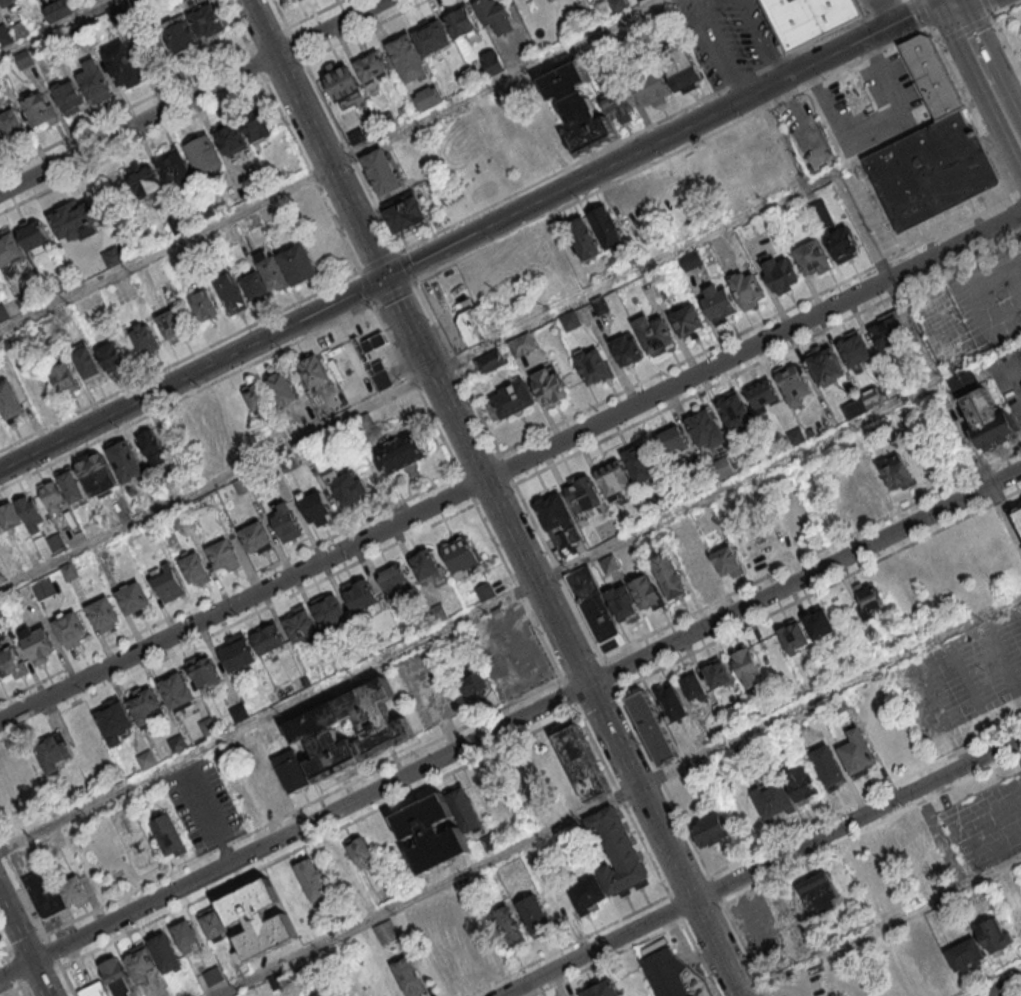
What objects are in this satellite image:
building: (301, 0)
building: (286, 1)
building: (552, 1)
building: (641, 1)
building: (9, 4)
building: (139, 6)
building: (619, 6)
road: (954, 7)
road: (973, 7)
road: (1004, 8)
building: (58, 12)
road: (922, 13)
road: (280, 14)
road: (315, 14)
building: (121, 15)
traffic signals: (958, 15)
building: (495, 17)
building: (810, 19)
road: (235, 23)
building: (207, 24)
building: (463, 24)
road: (55, 28)
building: (650, 28)
road: (963, 30)
building: (21, 31)
road: (367, 31)
building: (81, 34)
building: (180, 36)
parking lot: (726, 36)
building: (5, 37)
road: (268, 37)
road: (1002, 37)
building: (432, 39)
road: (766, 39)
building: (625, 41)
road: (296, 45)
building: (603, 49)
road: (719, 49)
building: (56, 54)
road: (979, 58)
building: (25, 61)
building: (408, 62)
building: (43, 63)
road: (256, 64)
building: (494, 66)
building: (123, 68)
building: (372, 69)
road: (284, 71)
building: (683, 72)
building: (932, 78)
building: (466, 82)
road: (498, 83)
building: (96, 84)
building: (340, 84)
building: (652, 88)
road: (190, 95)
building: (68, 100)
building: (429, 100)
building: (618, 106)
parking lot: (870, 108)
road: (124, 109)
building: (579, 110)
building: (38, 111)
road: (971, 112)
road: (1007, 113)
building: (387, 121)
road: (651, 125)
building: (13, 129)
building: (258, 129)
road: (1017, 132)
parking lot: (805, 134)
road: (314, 138)
building: (355, 138)
building: (231, 139)
road: (662, 139)
road: (780, 141)
building: (2, 143)
road: (132, 148)
road: (671, 153)
building: (205, 158)
road: (351, 158)
building: (175, 171)
building: (932, 172)
building: (381, 175)
road: (312, 177)
building: (146, 185)
road: (1018, 203)
building: (207, 212)
building: (405, 217)
building: (823, 218)
building: (76, 225)
building: (178, 228)
building: (606, 231)
building: (748, 233)
building: (33, 238)
building: (584, 242)
road: (688, 248)
building: (843, 248)
road: (164, 250)
building: (10, 251)
building: (116, 258)
building: (814, 261)
road: (379, 262)
building: (691, 263)
building: (299, 268)
road: (407, 268)
building: (273, 275)
building: (780, 276)
traffic signals: (384, 278)
road: (367, 288)
building: (256, 291)
road: (394, 293)
building: (747, 293)
building: (231, 296)
parking lot: (989, 297)
building: (719, 307)
building: (205, 308)
building: (601, 308)
building: (4, 315)
building: (571, 323)
building: (689, 325)
road: (756, 325)
building: (171, 327)
parking lot: (942, 327)
building: (471, 328)
building: (892, 332)
building: (655, 337)
building: (145, 341)
building: (369, 345)
building: (523, 347)
building: (1020, 348)
building: (856, 352)
building: (628, 353)
parking lot: (350, 356)
building: (111, 357)
road: (768, 357)
road: (180, 361)
building: (492, 363)
building: (88, 365)
road: (457, 368)
building: (826, 369)
building: (593, 370)
road: (191, 373)
building: (313, 373)
building: (380, 377)
building: (963, 381)
building: (64, 382)
road: (418, 388)
building: (794, 388)
building: (550, 390)
building: (283, 392)
road: (187, 397)
building: (257, 399)
building: (763, 400)
building: (873, 400)
building: (9, 403)
building: (511, 404)
building: (855, 411)
building: (736, 415)
building: (364, 423)
building: (988, 425)
building: (707, 432)
building: (797, 439)
building: (671, 442)
building: (151, 447)
building: (402, 458)
building: (287, 462)
road: (479, 463)
building: (125, 464)
road: (510, 467)
building: (642, 467)
road: (507, 469)
building: (722, 471)
building: (897, 477)
building: (97, 478)
road: (737, 482)
road: (216, 483)
building: (614, 484)
building: (870, 486)
building: (243, 487)
building: (170, 488)
building: (72, 489)
road: (467, 489)
building: (346, 490)
road: (494, 494)
building: (52, 499)
building: (582, 501)
building: (659, 506)
building: (317, 511)
road: (1005, 513)
building: (31, 516)
building: (554, 518)
building: (1018, 518)
building: (10, 519)
building: (180, 520)
building: (286, 526)
building: (687, 529)
building: (2, 534)
building: (257, 542)
building: (57, 544)
building: (651, 545)
building: (568, 548)
road: (810, 553)
building: (224, 558)
building: (461, 560)
building: (729, 566)
building: (193, 568)
building: (611, 568)
building: (424, 570)
road: (555, 571)
building: (70, 573)
building: (697, 573)
building: (669, 581)
building: (167, 586)
road: (229, 586)
building: (395, 586)
road: (817, 590)
building: (46, 591)
road: (517, 591)
building: (485, 594)
building: (646, 594)
building: (24, 596)
building: (359, 598)
building: (134, 603)
building: (623, 606)
building: (870, 606)
building: (1, 610)
building: (594, 610)
building: (439, 615)
building: (329, 616)
building: (104, 619)
road: (237, 621)
building: (820, 627)
building: (301, 629)
building: (70, 633)
road: (562, 637)
building: (268, 642)
building: (796, 642)
building: (38, 649)
parking lot: (509, 651)
building: (238, 657)
road: (935, 657)
building: (12, 667)
building: (748, 667)
road: (579, 668)
road: (605, 671)
building: (718, 671)
building: (204, 674)
parking lot: (962, 675)
building: (694, 685)
building: (474, 689)
parking lot: (428, 691)
road: (828, 691)
building: (178, 694)
road: (568, 694)
road: (594, 699)
building: (672, 700)
building: (144, 709)
building: (240, 714)
road: (267, 716)
building: (375, 720)
road: (510, 722)
building: (115, 724)
building: (209, 729)
building: (651, 729)
building: (254, 740)
building: (325, 744)
building: (178, 745)
building: (858, 753)
building: (53, 758)
building: (148, 761)
building: (581, 763)
building: (827, 766)
building: (294, 773)
road: (660, 780)
building: (799, 780)
crop: (23, 784)
building: (267, 790)
road: (864, 796)
building: (773, 798)
road: (623, 802)
building: (466, 807)
road: (303, 810)
parking lot: (985, 823)
road: (870, 825)
building: (710, 828)
building: (433, 834)
building: (169, 835)
road: (318, 838)
building: (490, 842)
building: (360, 849)
building: (617, 852)
parking lot: (26, 859)
road: (761, 866)
building: (314, 880)
road: (688, 884)
road: (714, 887)
road: (22, 890)
road: (425, 891)
building: (819, 892)
building: (587, 894)
building: (45, 896)
building: (75, 896)
road: (675, 908)
road: (700, 909)
building: (537, 914)
building: (259, 920)
parking lot: (57, 922)
building: (215, 922)
building: (1017, 924)
building: (509, 927)
road: (880, 927)
building: (386, 932)
building: (185, 933)
parking lot: (763, 934)
building: (994, 934)
road: (24, 943)
road: (567, 945)
road: (24, 946)
road: (743, 947)
road: (4, 949)
building: (165, 950)
road: (52, 951)
building: (967, 953)
road: (606, 958)
road: (702, 958)
building: (141, 961)
road: (12, 969)
road: (38, 974)
building: (118, 975)
building: (410, 975)
building: (675, 975)
road: (985, 978)
road: (67, 981)
building: (278, 981)
parking lot: (805, 984)
road: (1004, 987)
building: (602, 988)
building: (94, 989)
road: (9, 990)
road: (21, 991)
road: (1020, 995)

